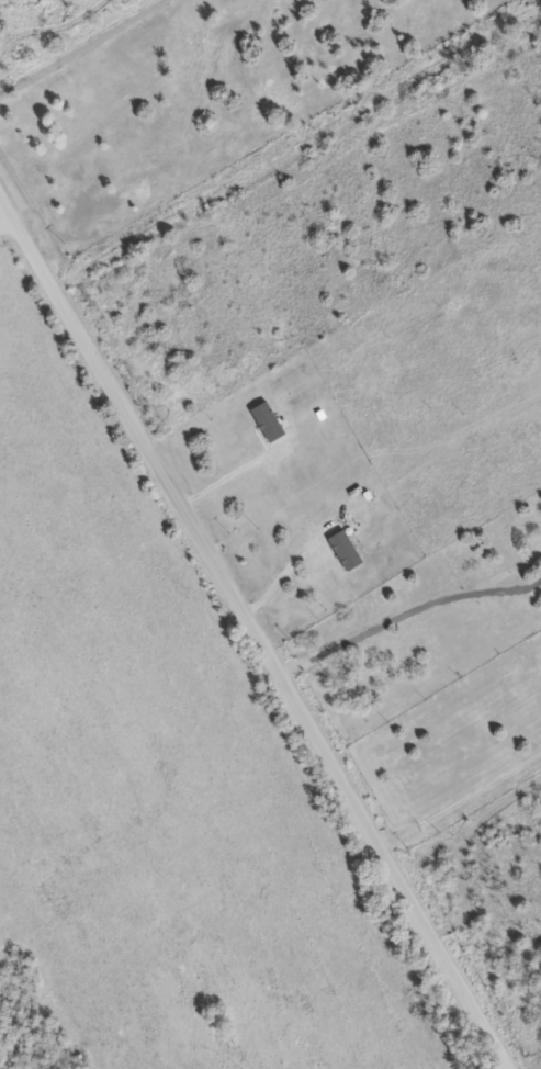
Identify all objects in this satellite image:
road: (296, 147)
road: (4, 209)
road: (4, 221)
building: (275, 423)
building: (352, 551)
road: (261, 642)

